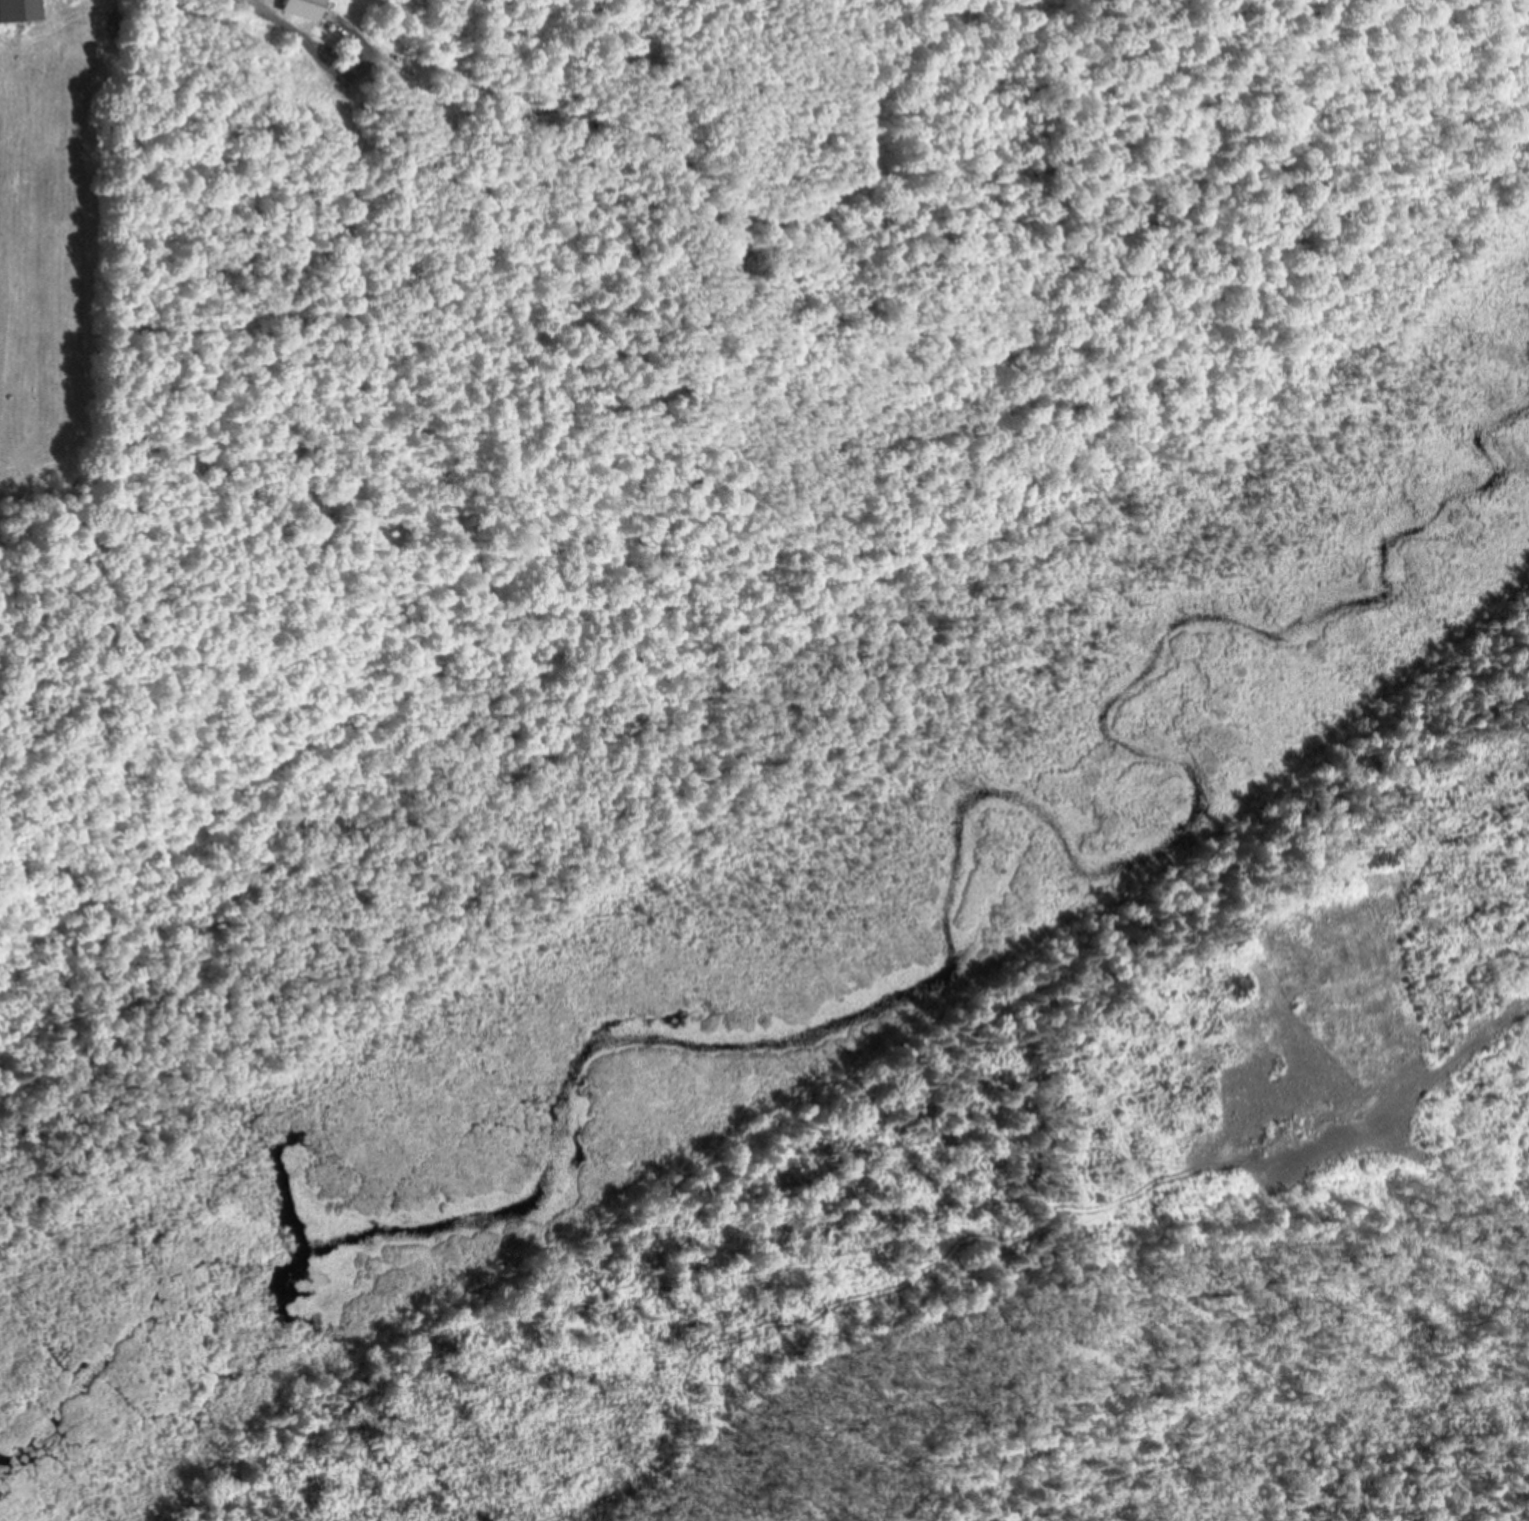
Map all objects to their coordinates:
building: (302, 10)

